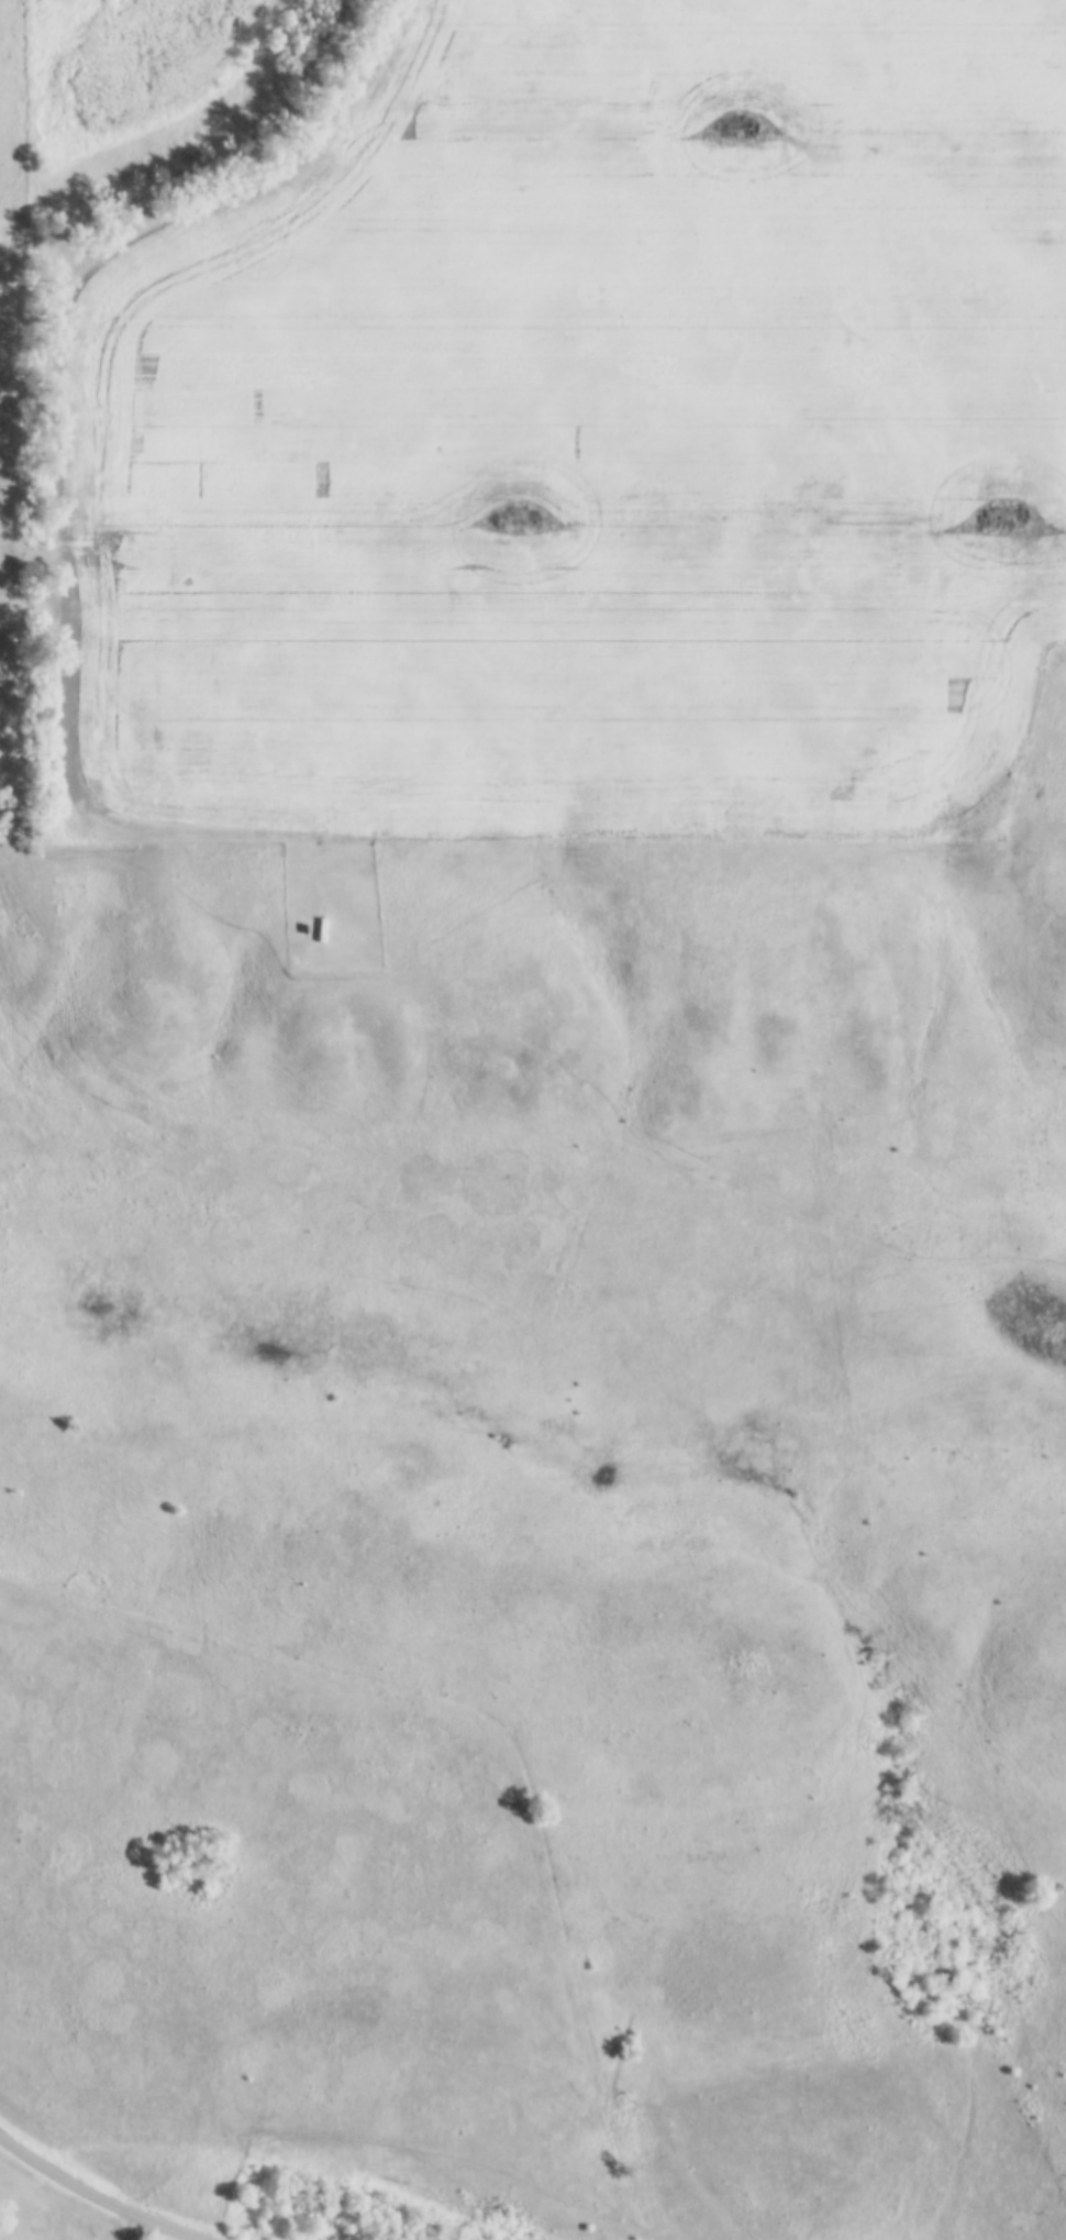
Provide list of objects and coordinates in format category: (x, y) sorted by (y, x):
road: (95, 2199)
road: (135, 2227)

